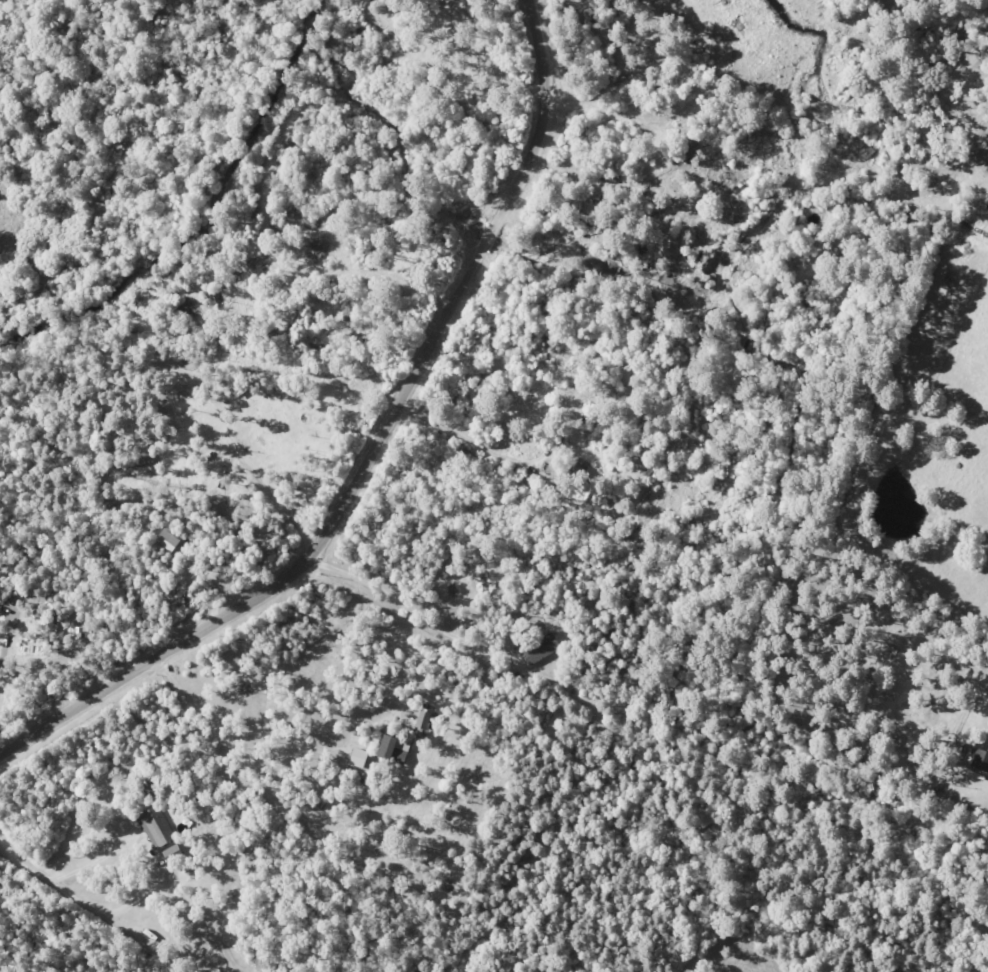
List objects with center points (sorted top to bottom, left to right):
road: (375, 449)
building: (173, 542)
road: (404, 607)
building: (43, 620)
building: (542, 648)
building: (426, 720)
road: (247, 731)
building: (390, 747)
building: (359, 757)
building: (979, 760)
building: (157, 827)
building: (176, 853)

